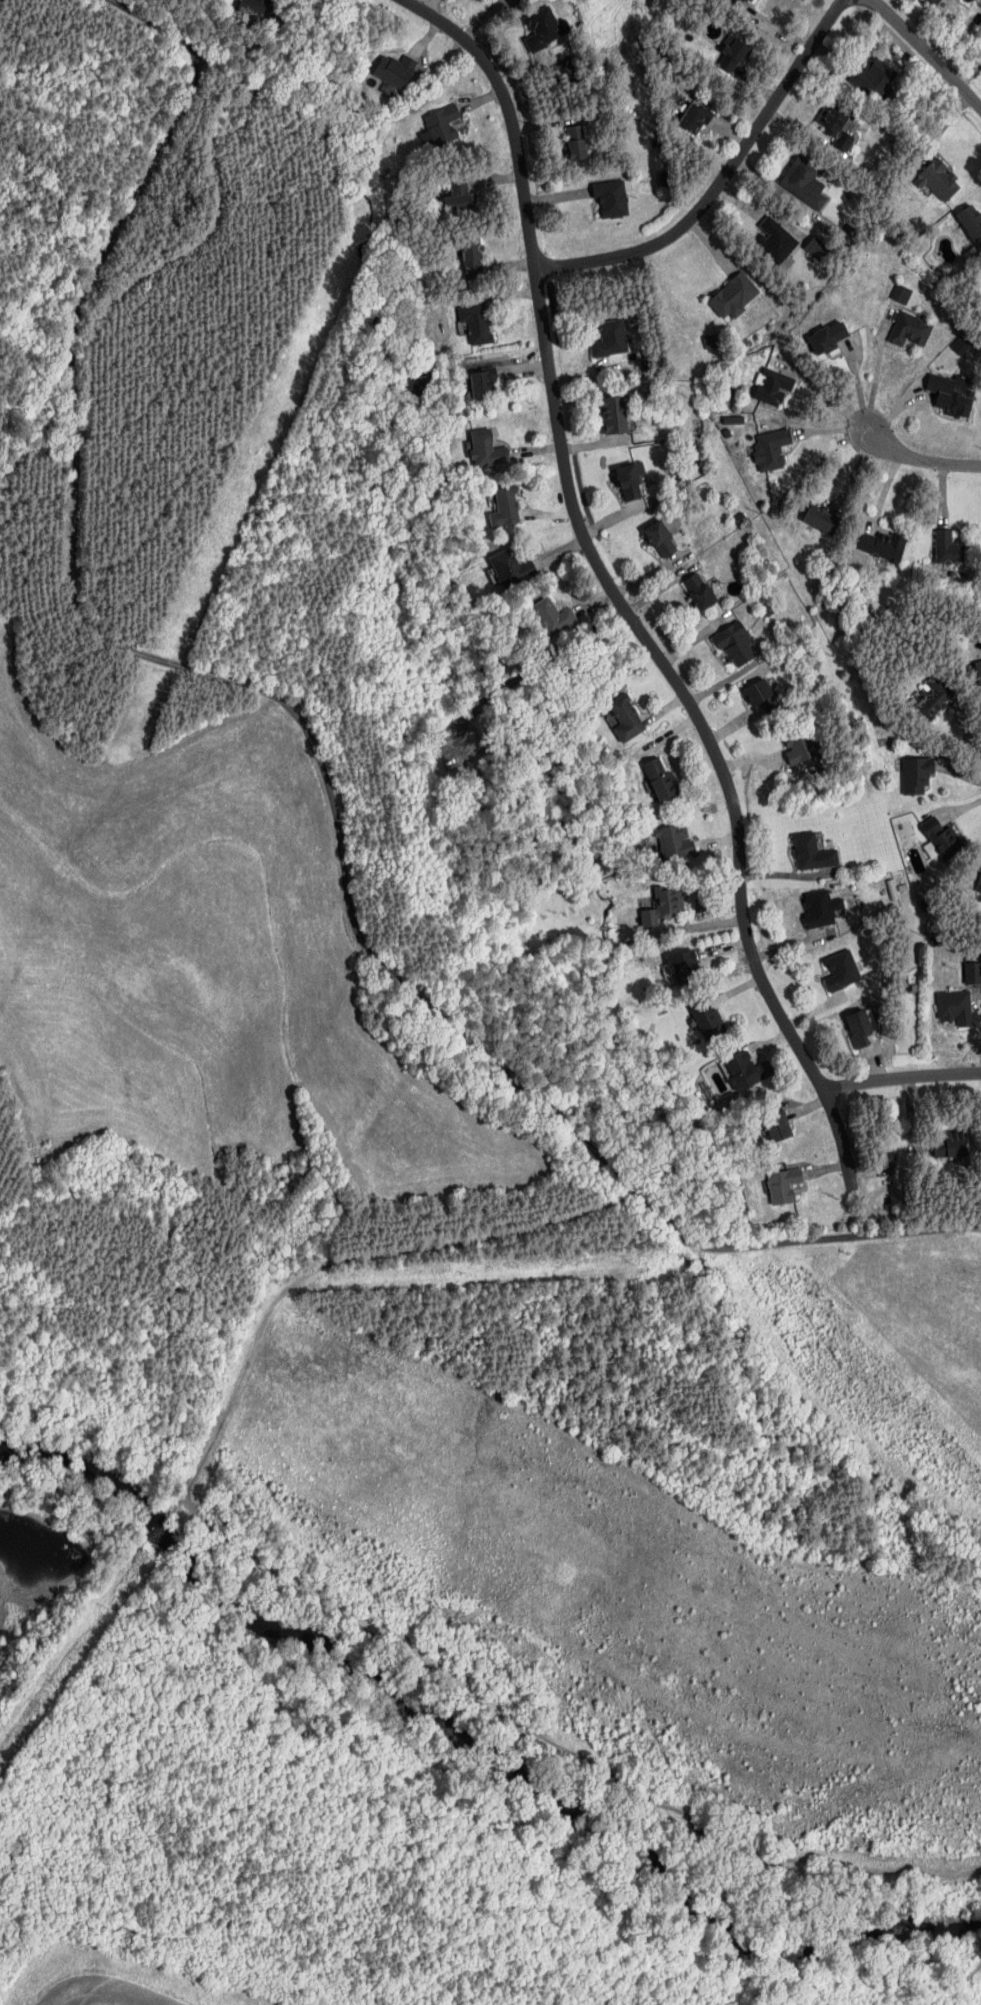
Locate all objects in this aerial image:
building: (936, 1)
building: (741, 2)
building: (544, 27)
building: (734, 54)
road: (924, 57)
building: (395, 70)
building: (878, 77)
building: (695, 118)
building: (442, 124)
building: (837, 125)
building: (576, 142)
road: (722, 179)
building: (940, 180)
building: (804, 183)
building: (613, 197)
building: (971, 220)
building: (775, 239)
building: (817, 247)
building: (901, 293)
building: (734, 294)
building: (477, 323)
building: (910, 329)
building: (831, 336)
building: (611, 339)
building: (713, 341)
building: (961, 345)
building: (484, 385)
building: (772, 387)
building: (953, 395)
building: (616, 415)
building: (771, 448)
building: (487, 449)
road: (919, 458)
building: (631, 481)
building: (506, 508)
building: (823, 520)
building: (661, 539)
building: (884, 546)
building: (949, 546)
building: (510, 566)
road: (616, 591)
building: (700, 592)
building: (553, 616)
building: (736, 644)
building: (978, 672)
building: (762, 695)
building: (935, 701)
building: (627, 718)
road: (965, 727)
building: (801, 752)
building: (916, 775)
building: (662, 781)
road: (813, 804)
building: (942, 835)
building: (675, 841)
building: (813, 851)
building: (980, 884)
building: (664, 904)
building: (819, 908)
building: (685, 965)
building: (842, 970)
building: (973, 972)
building: (955, 1006)
building: (707, 1021)
building: (860, 1029)
building: (746, 1069)
road: (903, 1077)
building: (778, 1126)
building: (952, 1147)
building: (784, 1184)
road: (207, 1530)
road: (376, 1793)
road: (886, 1995)

